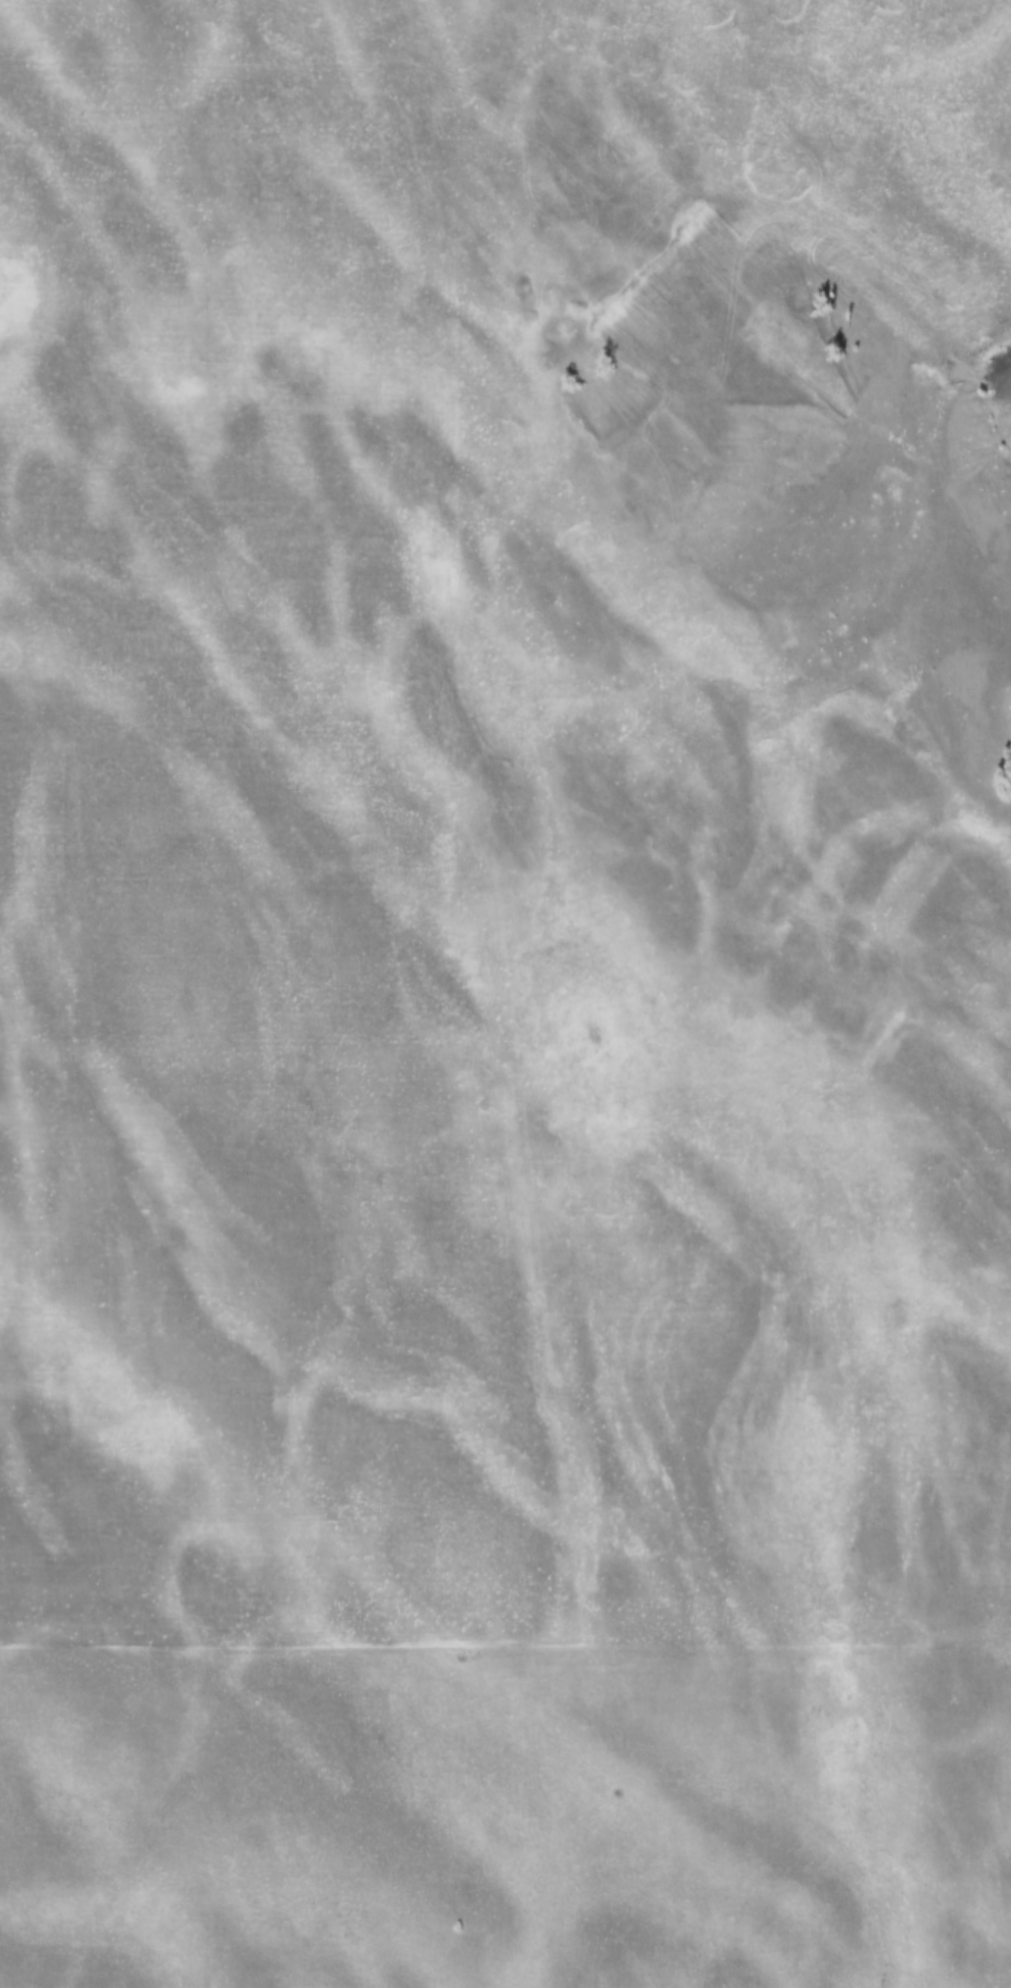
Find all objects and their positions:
quarry: (819, 481)

